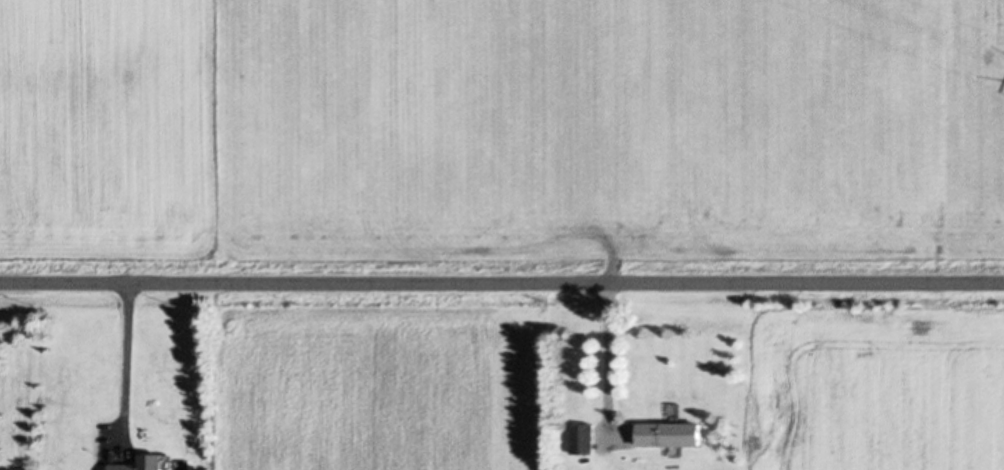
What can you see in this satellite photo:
road: (502, 281)
building: (669, 432)
building: (582, 437)
building: (140, 462)

